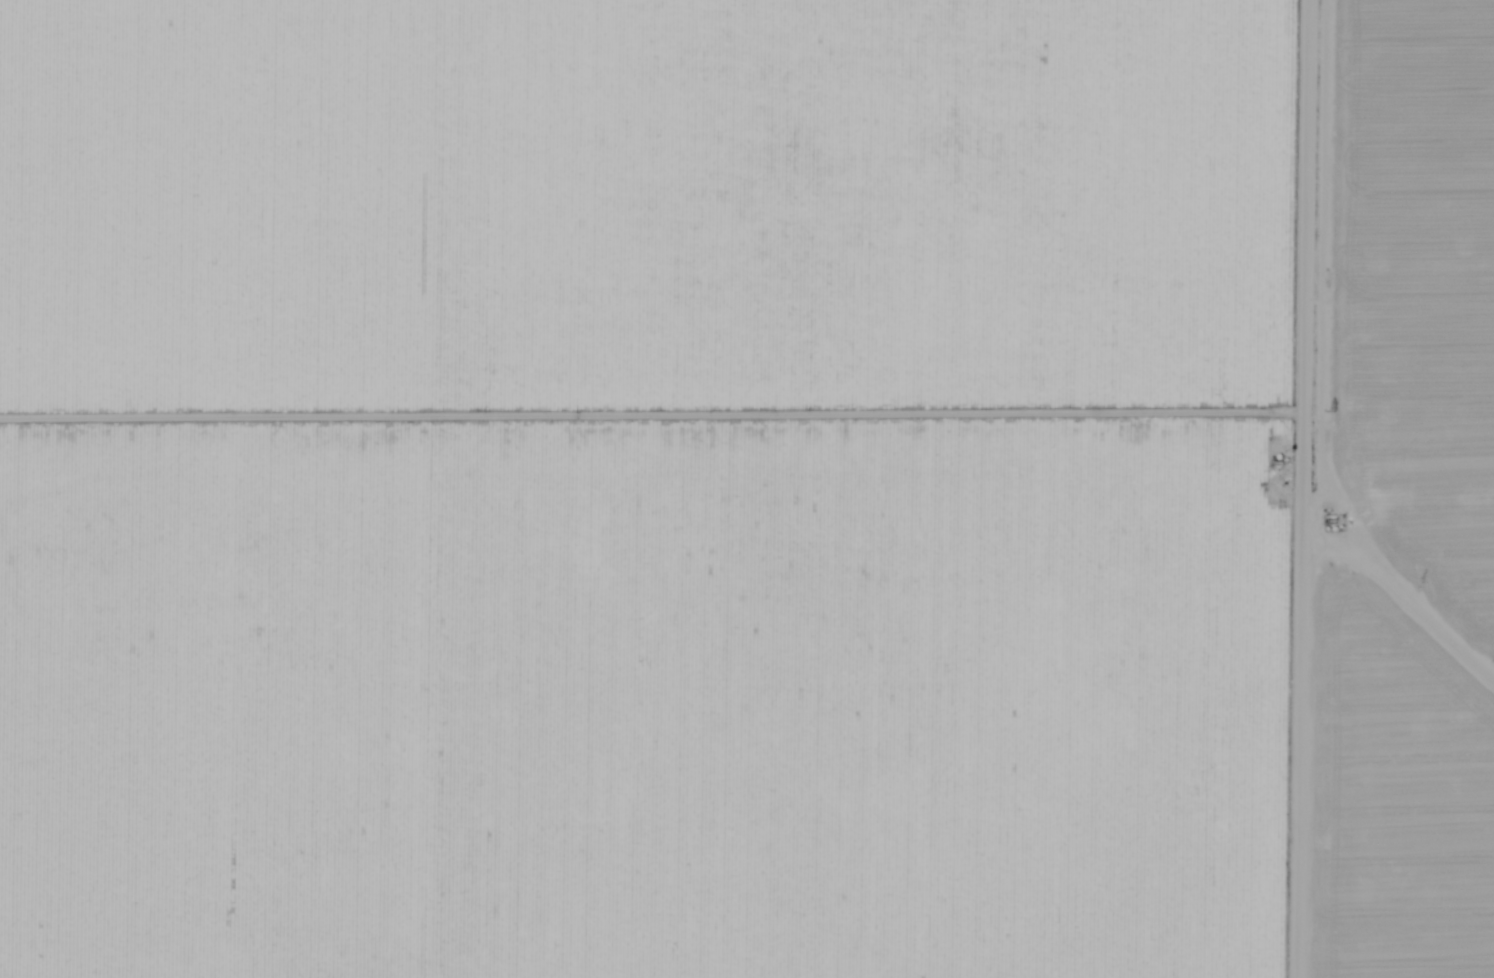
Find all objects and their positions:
road: (1308, 369)
crop: (657, 488)
crop: (1404, 495)

